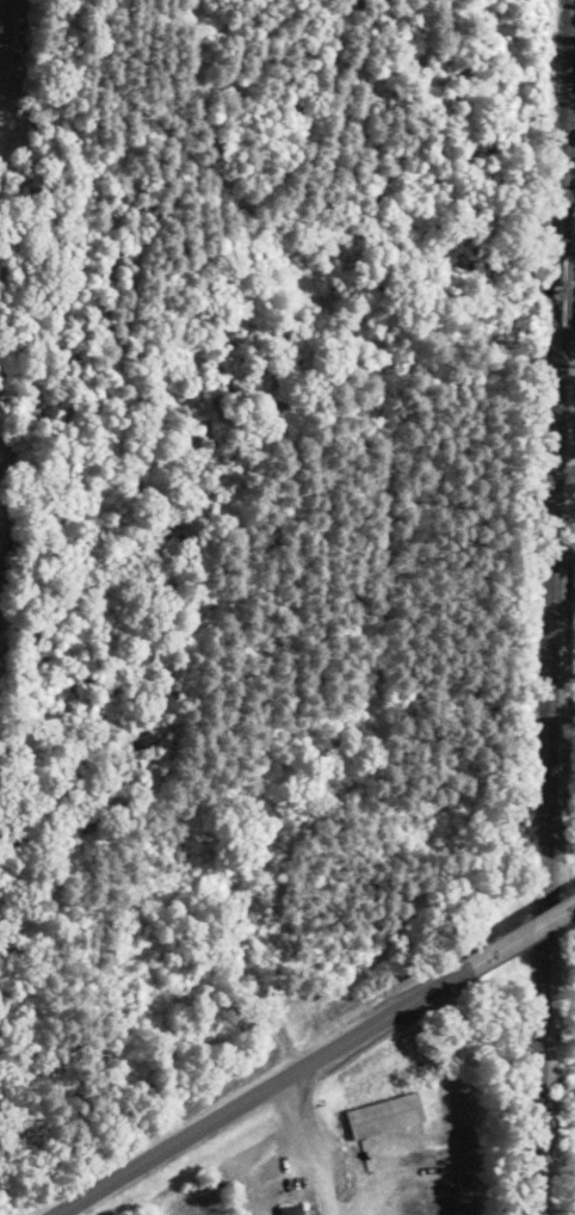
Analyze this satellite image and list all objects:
railway: (550, 606)
road: (523, 936)
road: (239, 1098)
building: (384, 1114)
road: (302, 1145)
building: (291, 1209)

